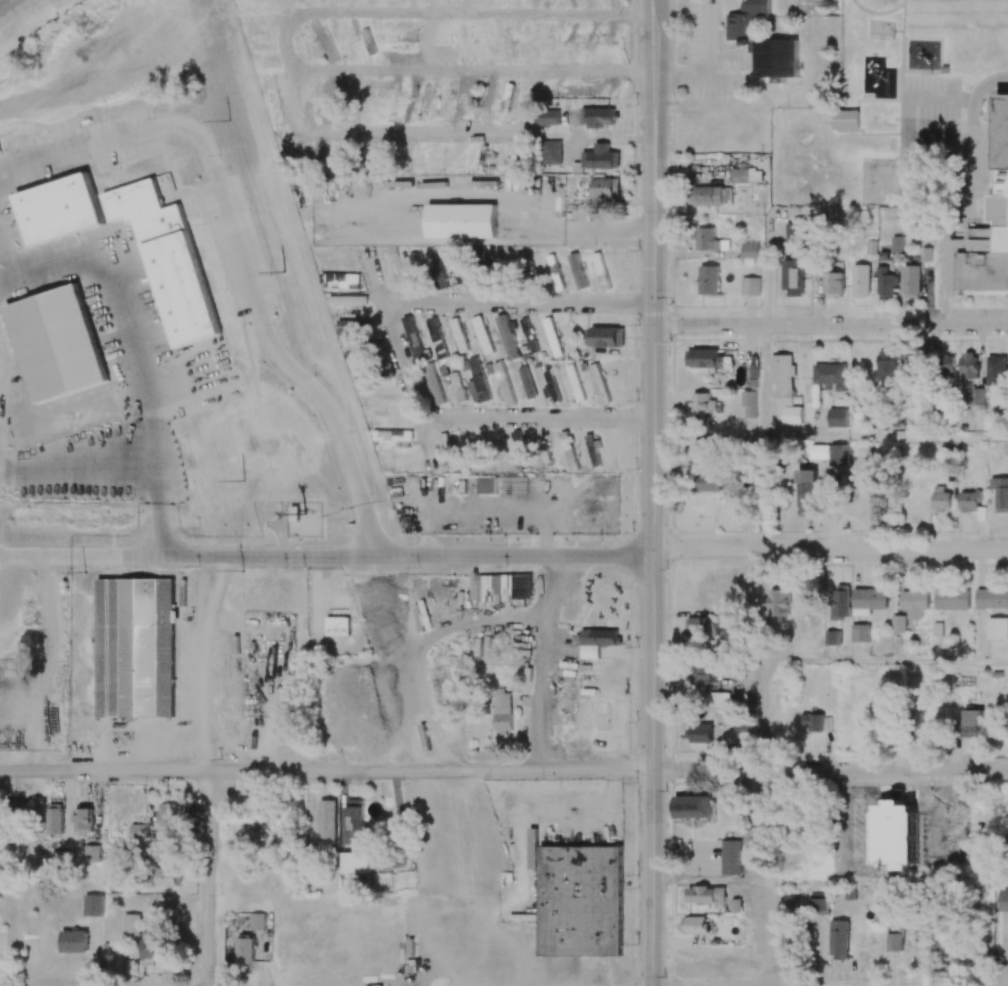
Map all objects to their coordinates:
road: (4, 3)
road: (654, 7)
building: (746, 22)
building: (398, 25)
road: (286, 41)
building: (327, 41)
building: (461, 41)
building: (369, 42)
road: (653, 43)
building: (398, 46)
park: (843, 50)
building: (776, 57)
road: (986, 81)
building: (574, 89)
building: (509, 97)
building: (322, 98)
building: (403, 98)
building: (487, 98)
building: (423, 99)
building: (466, 100)
road: (653, 105)
building: (274, 109)
building: (547, 117)
building: (598, 117)
building: (845, 119)
power tower: (229, 120)
road: (410, 132)
road: (573, 134)
road: (907, 137)
road: (613, 138)
building: (301, 151)
building: (551, 152)
building: (382, 157)
building: (601, 157)
building: (747, 176)
building: (604, 188)
road: (497, 195)
building: (710, 195)
building: (59, 209)
building: (462, 220)
road: (948, 230)
building: (985, 231)
building: (796, 233)
building: (709, 240)
building: (897, 243)
building: (750, 250)
building: (926, 254)
building: (168, 260)
building: (553, 262)
building: (415, 263)
power tower: (283, 271)
building: (793, 275)
road: (374, 278)
building: (342, 279)
building: (709, 279)
building: (861, 280)
building: (912, 280)
building: (886, 283)
building: (834, 284)
building: (750, 286)
road: (255, 304)
traffic signals: (654, 311)
building: (350, 327)
road: (831, 327)
building: (459, 335)
building: (529, 335)
building: (605, 336)
building: (413, 337)
building: (483, 337)
building: (508, 337)
building: (436, 338)
building: (57, 343)
road: (396, 343)
building: (353, 349)
building: (704, 358)
building: (912, 365)
building: (970, 365)
building: (886, 366)
building: (949, 366)
building: (997, 369)
building: (831, 375)
building: (783, 377)
road: (765, 381)
building: (477, 382)
building: (504, 383)
building: (526, 383)
building: (575, 383)
building: (433, 385)
building: (599, 385)
building: (550, 387)
building: (977, 396)
building: (702, 402)
building: (749, 403)
building: (383, 412)
building: (793, 414)
building: (838, 417)
building: (395, 435)
road: (886, 436)
road: (427, 441)
building: (445, 442)
building: (702, 449)
building: (568, 451)
building: (840, 454)
road: (73, 471)
power tower: (244, 479)
building: (708, 482)
building: (487, 485)
building: (807, 489)
road: (764, 491)
building: (1002, 495)
building: (941, 498)
building: (969, 501)
road: (571, 503)
road: (506, 504)
road: (154, 513)
road: (830, 548)
road: (327, 558)
road: (653, 561)
power tower: (84, 571)
power tower: (241, 571)
building: (502, 587)
building: (952, 599)
building: (992, 599)
building: (868, 600)
building: (841, 601)
building: (780, 602)
building: (914, 602)
road: (763, 605)
building: (899, 624)
building: (338, 626)
building: (702, 626)
building: (998, 628)
building: (937, 629)
building: (860, 632)
building: (833, 637)
building: (595, 641)
building: (135, 647)
road: (202, 663)
road: (885, 663)
building: (700, 673)
building: (719, 699)
building: (502, 711)
road: (763, 717)
road: (268, 718)
building: (817, 722)
building: (744, 723)
building: (972, 723)
building: (700, 733)
road: (139, 743)
road: (830, 771)
road: (326, 773)
road: (613, 774)
building: (692, 806)
building: (16, 812)
building: (170, 817)
building: (55, 818)
building: (83, 818)
building: (355, 818)
building: (327, 820)
building: (897, 830)
building: (139, 831)
building: (754, 836)
road: (521, 851)
building: (167, 852)
building: (92, 853)
building: (60, 856)
building: (731, 857)
building: (356, 862)
building: (166, 877)
road: (207, 879)
road: (831, 881)
building: (706, 895)
building: (578, 898)
building: (1003, 899)
building: (93, 904)
building: (820, 904)
building: (257, 921)
building: (695, 924)
building: (131, 925)
road: (765, 933)
building: (895, 937)
building: (839, 938)
building: (74, 941)
building: (153, 948)
building: (245, 950)

